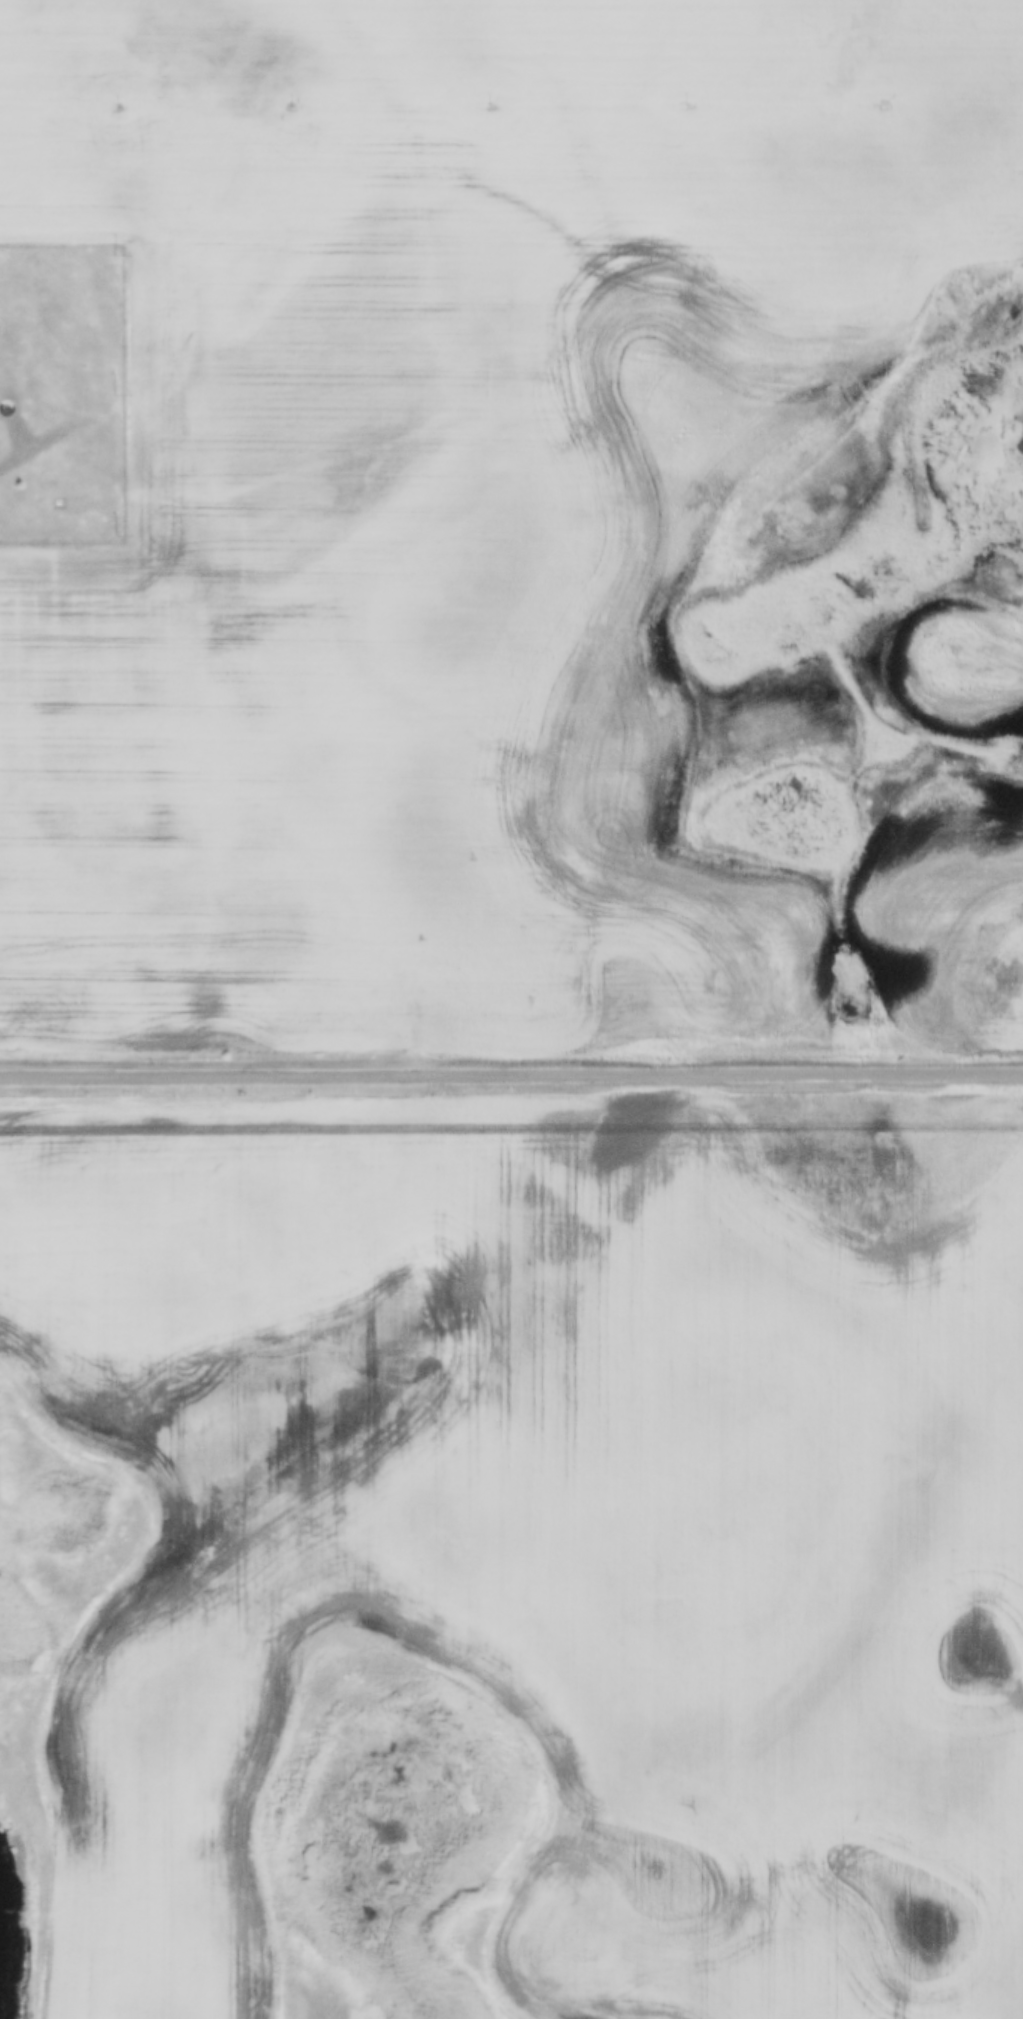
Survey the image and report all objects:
road: (511, 1073)

